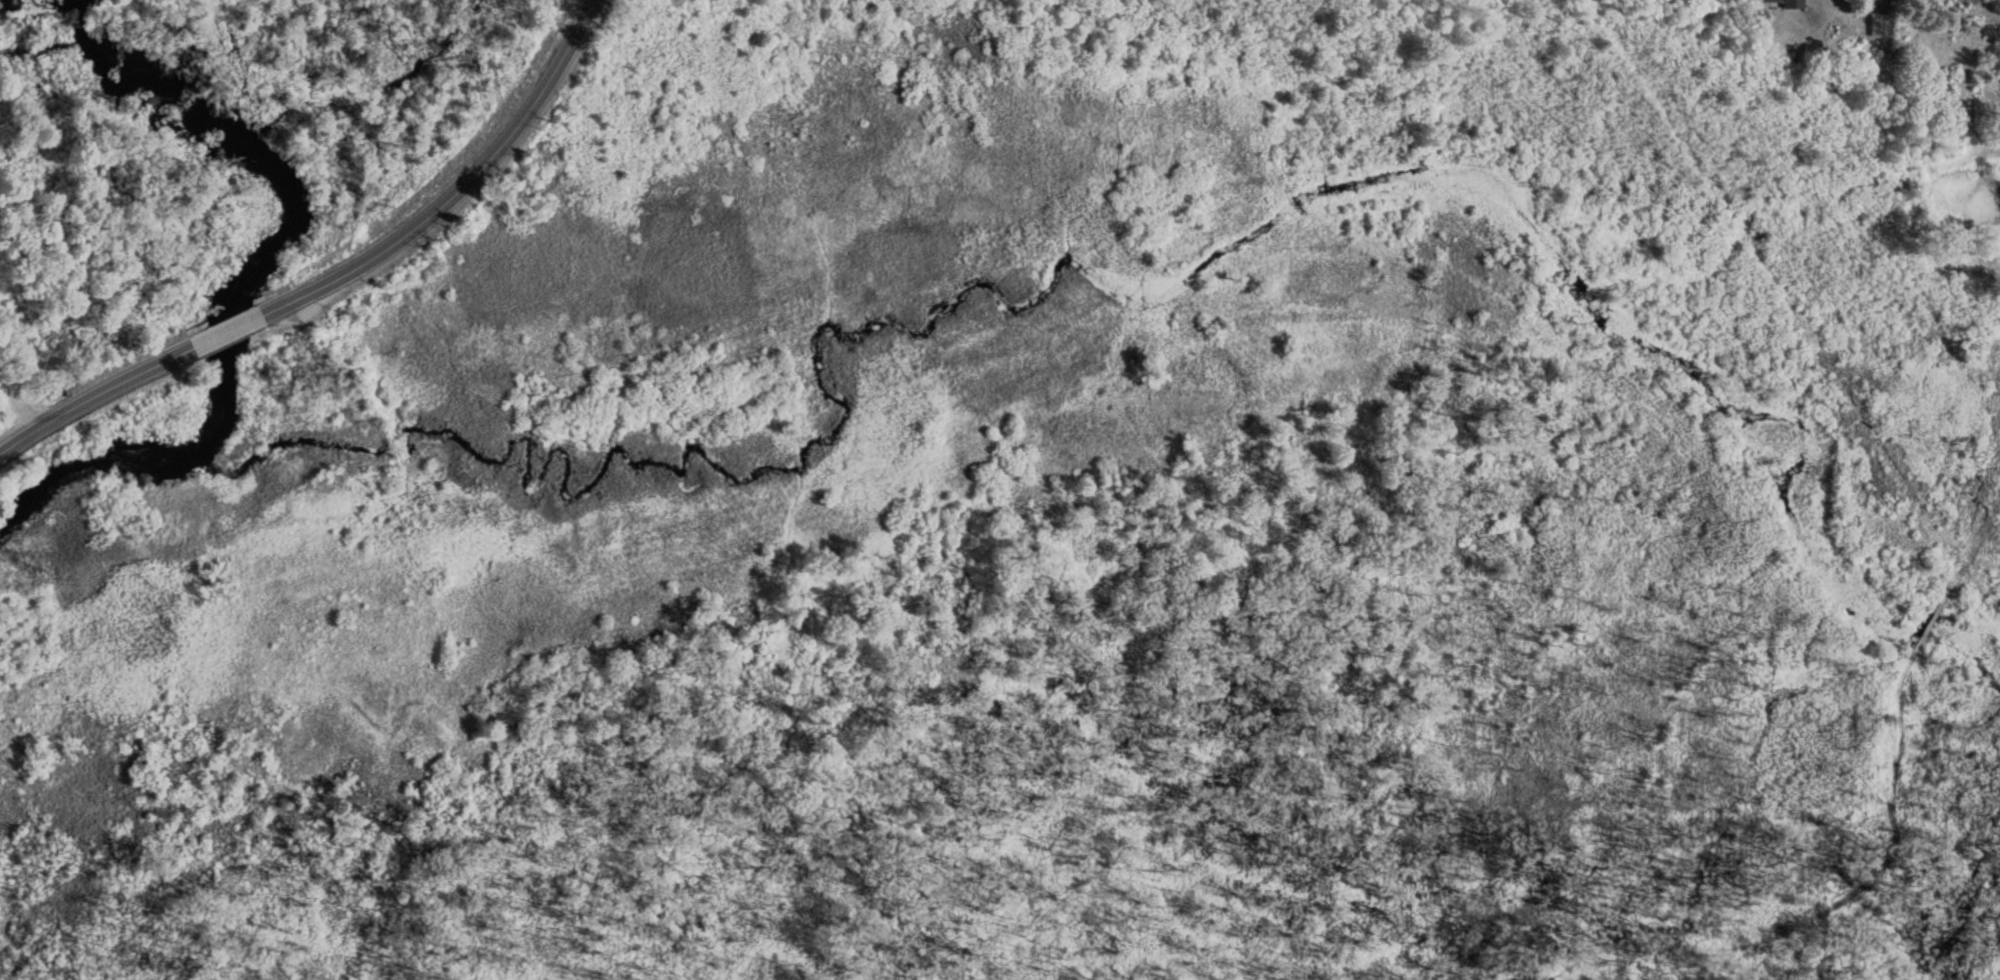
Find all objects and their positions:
building: (1787, 3)
building: (1970, 41)
road: (452, 195)
road: (228, 334)
road: (101, 392)
road: (17, 400)

